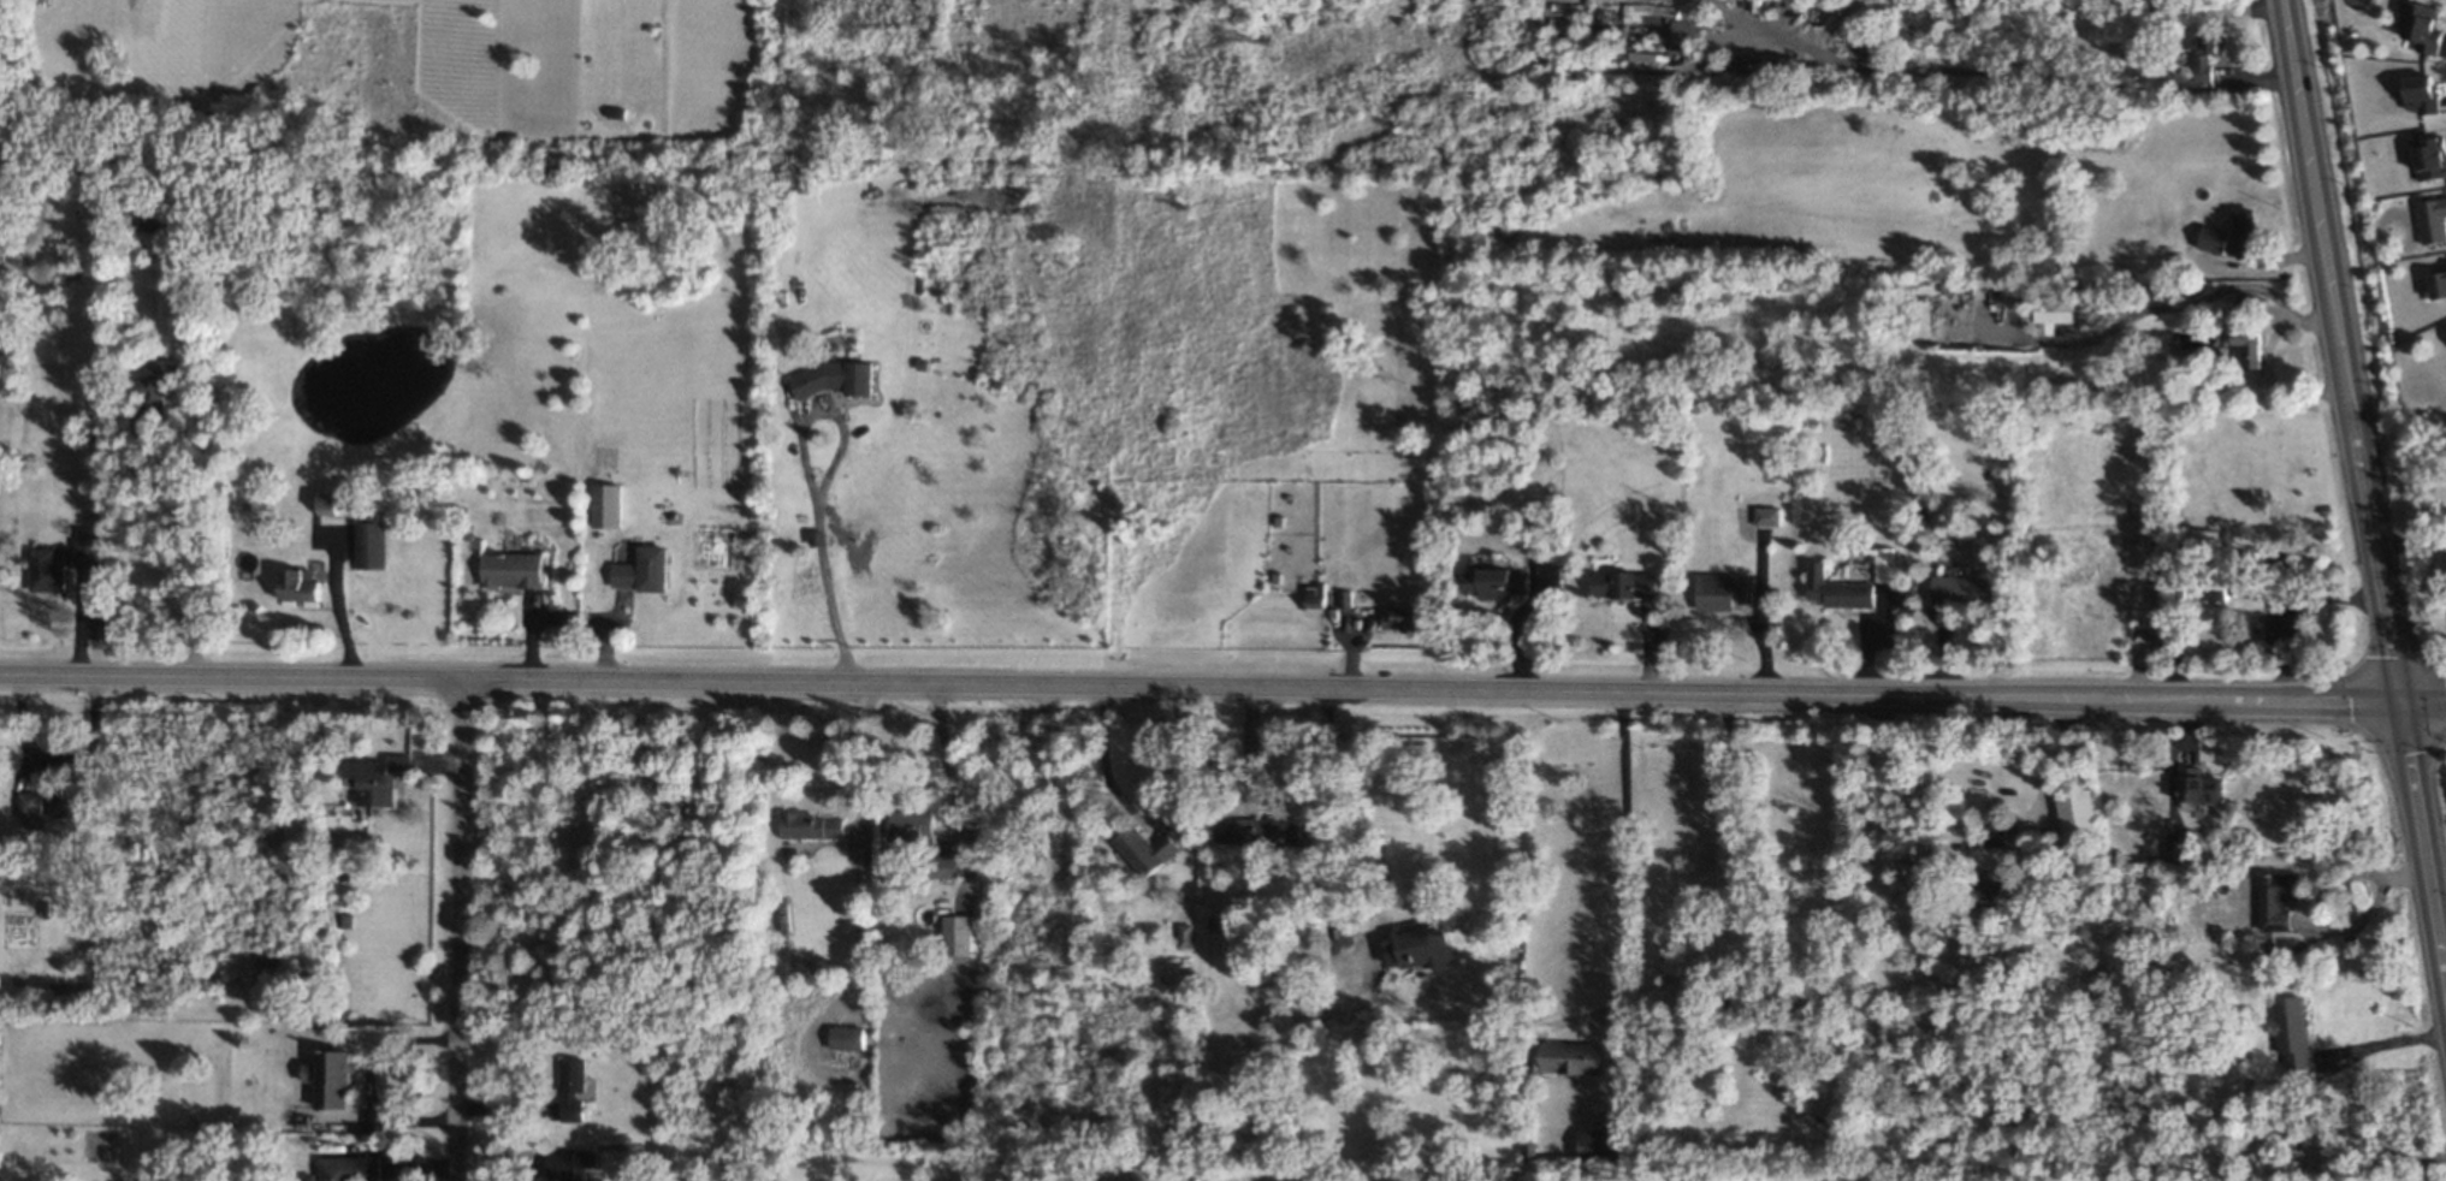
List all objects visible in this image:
building: (2424, 26)
building: (2208, 52)
building: (2422, 93)
building: (2429, 155)
building: (2433, 219)
building: (2245, 231)
building: (2214, 238)
building: (2445, 265)
building: (2438, 284)
building: (2053, 311)
building: (2250, 346)
building: (166, 378)
building: (835, 378)
road: (806, 413)
road: (2363, 483)
building: (330, 502)
building: (608, 505)
building: (1767, 515)
road: (818, 538)
building: (372, 544)
road: (2410, 544)
building: (88, 545)
road: (171, 552)
building: (1887, 563)
building: (47, 569)
building: (513, 569)
building: (642, 569)
building: (1497, 582)
building: (1625, 583)
building: (301, 584)
building: (1838, 588)
building: (1965, 588)
building: (2215, 589)
building: (1724, 590)
road: (2279, 598)
building: (1315, 600)
road: (830, 615)
building: (1399, 617)
building: (2296, 619)
road: (1222, 688)
traffic signals: (2400, 705)
road: (944, 756)
building: (379, 777)
building: (2198, 784)
building: (29, 802)
building: (64, 805)
building: (2078, 815)
road: (1151, 820)
building: (812, 825)
building: (911, 825)
building: (1258, 831)
building: (1996, 836)
road: (859, 842)
road: (1624, 848)
building: (2178, 848)
building: (1147, 849)
road: (1755, 851)
building: (948, 866)
building: (1991, 884)
building: (2280, 898)
road: (460, 928)
building: (960, 934)
building: (1185, 934)
building: (1420, 948)
building: (2292, 1029)
building: (847, 1037)
road: (2387, 1041)
building: (1574, 1056)
building: (574, 1088)
road: (2387, 1140)
building: (1601, 1144)
building: (571, 1164)
building: (350, 1168)

